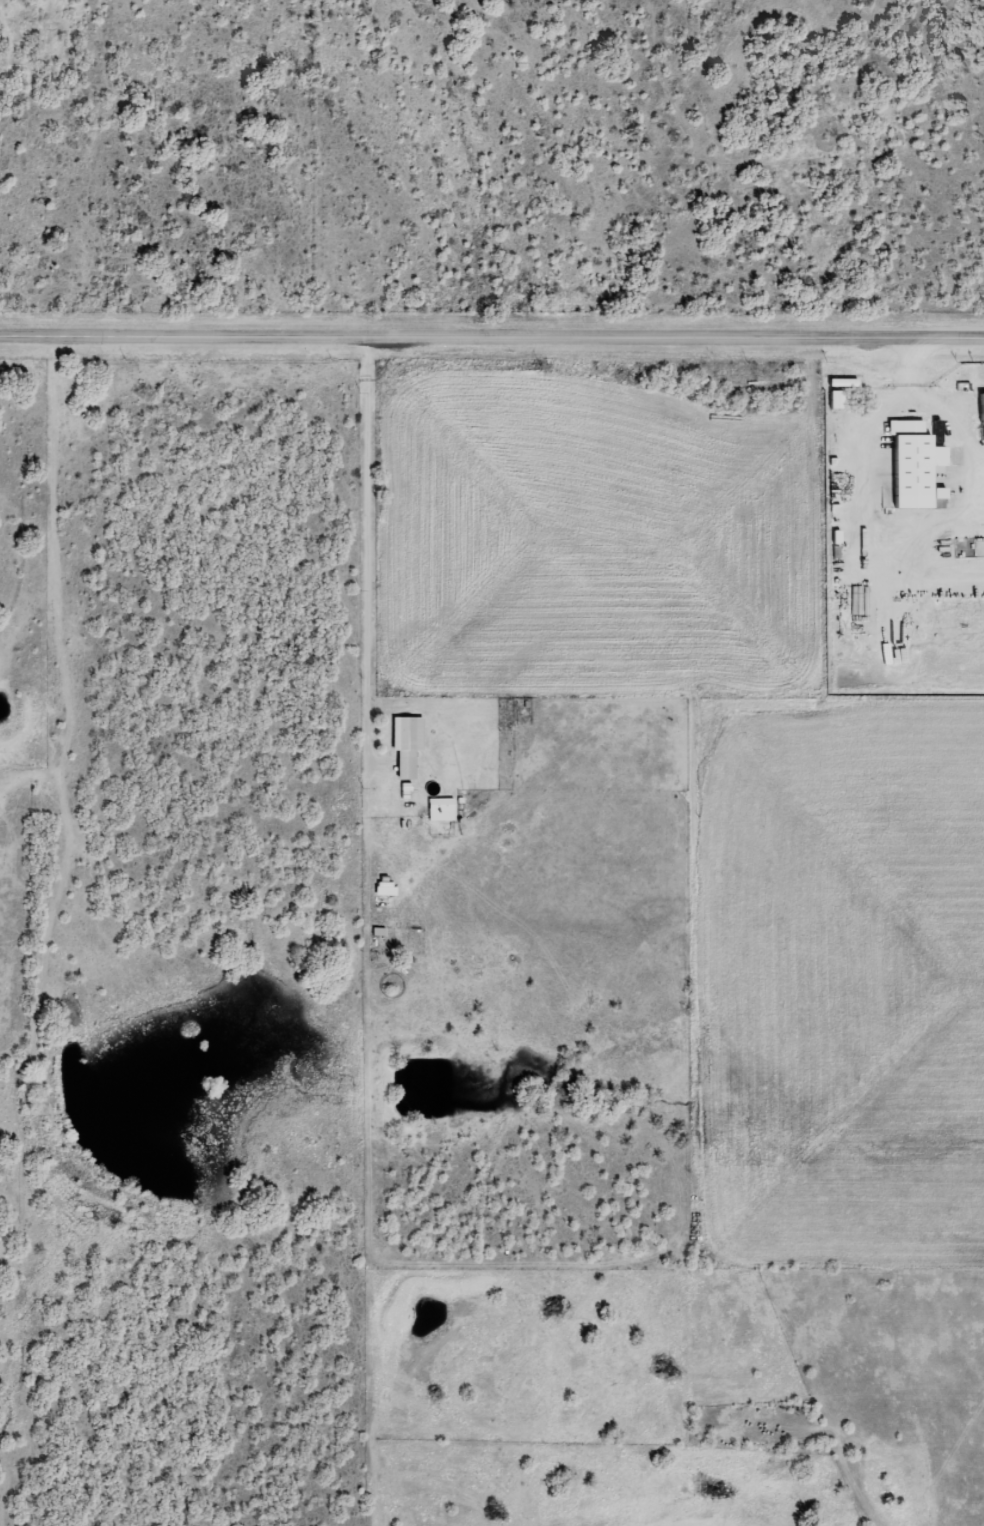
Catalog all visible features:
road: (492, 336)
building: (844, 382)
building: (836, 399)
building: (983, 407)
building: (915, 464)
road: (80, 565)
building: (407, 744)
building: (441, 810)
building: (386, 888)
road: (435, 1044)

